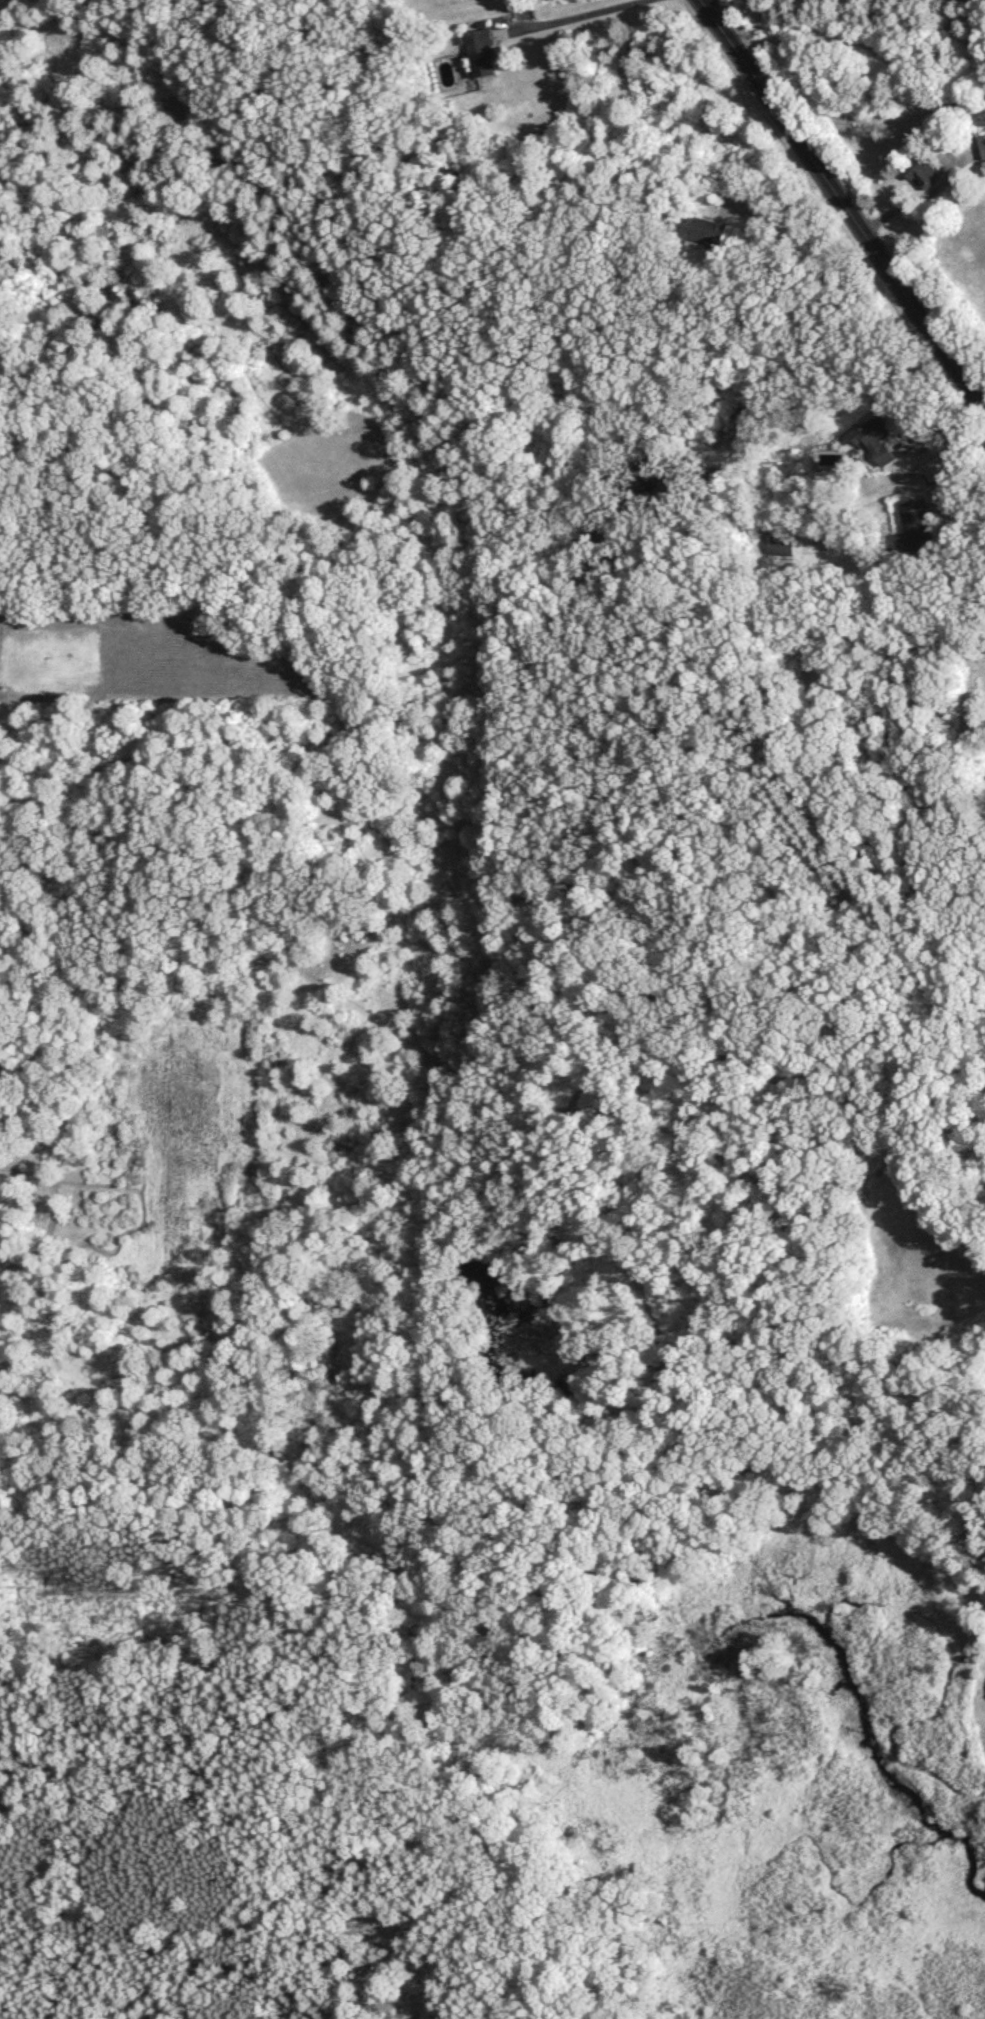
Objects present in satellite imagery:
road: (581, 14)
building: (483, 52)
building: (983, 142)
building: (925, 172)
road: (845, 200)
road: (784, 208)
building: (705, 230)
building: (878, 437)
road: (955, 467)
building: (917, 527)
building: (784, 545)

